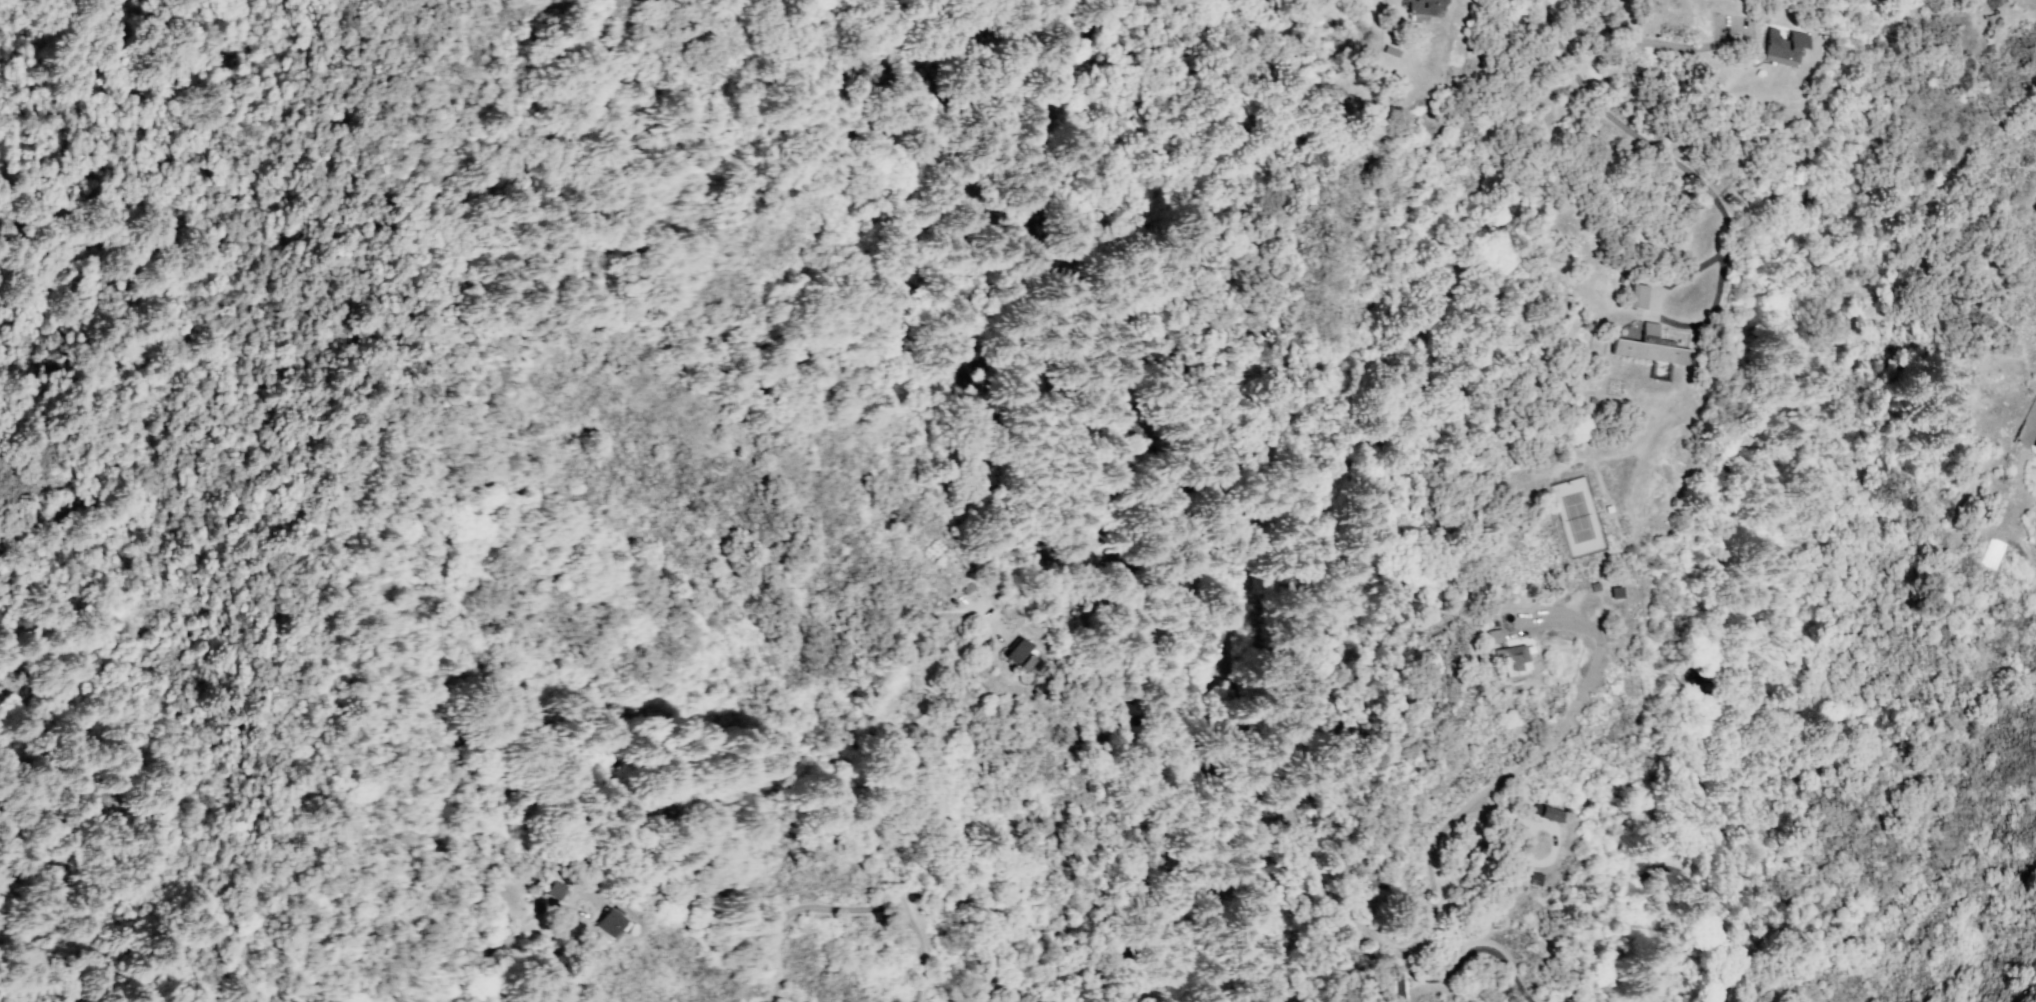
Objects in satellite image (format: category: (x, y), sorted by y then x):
building: (1422, 7)
building: (1780, 47)
road: (1570, 69)
road: (419, 208)
road: (1718, 275)
building: (1636, 295)
building: (1648, 347)
crop: (1777, 442)
road: (1210, 476)
park: (1577, 516)
road: (1430, 629)
building: (1025, 657)
building: (1511, 659)
road: (345, 743)
building: (1544, 812)
road: (1433, 840)
road: (852, 882)
building: (556, 889)
building: (598, 912)
building: (607, 923)
road: (503, 941)
road: (1228, 979)
road: (1211, 997)

